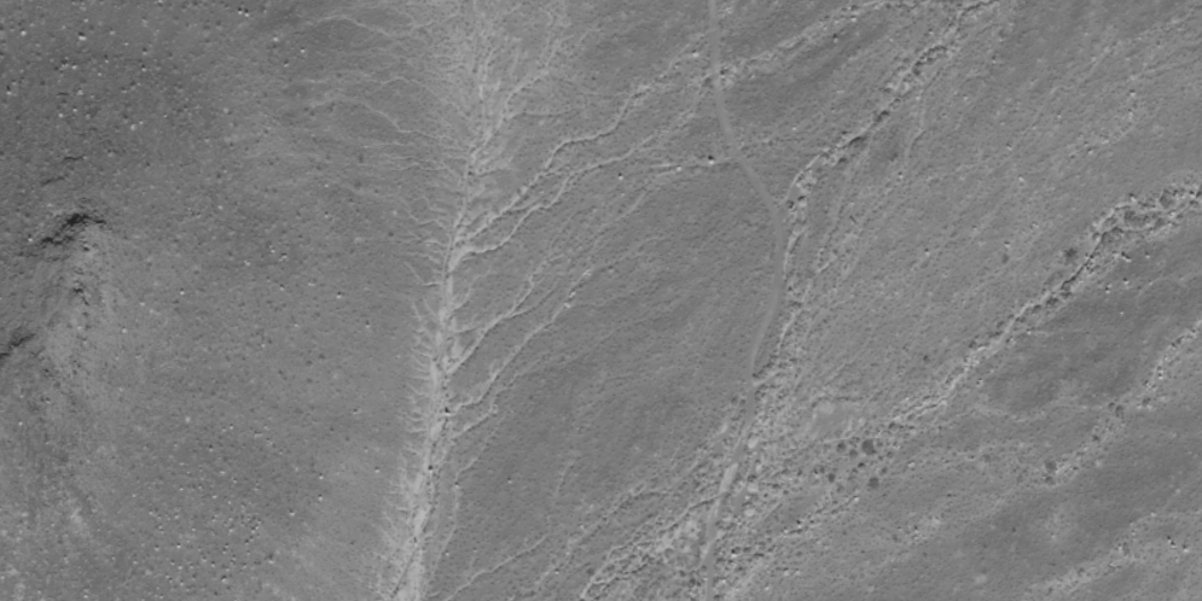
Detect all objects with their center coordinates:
road: (738, 300)

